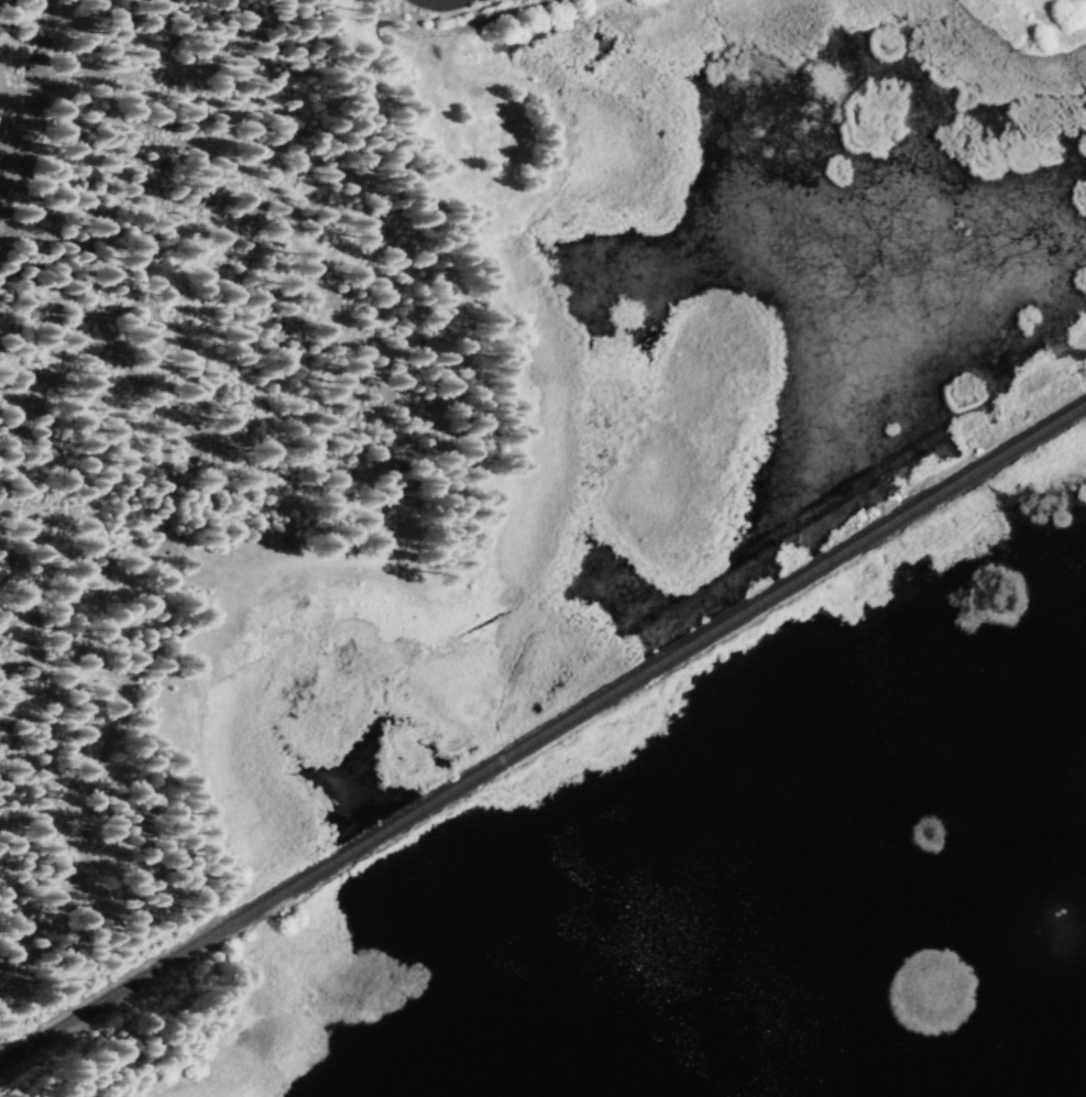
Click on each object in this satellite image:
road: (167, 512)
railway: (542, 736)

